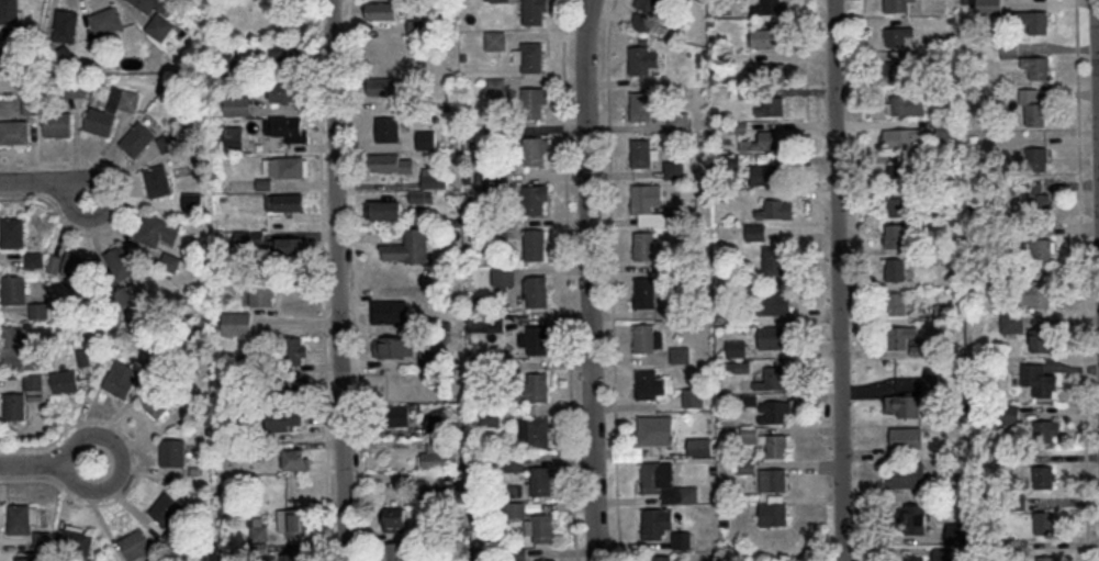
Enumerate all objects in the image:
building: (498, 0)
building: (649, 4)
building: (897, 4)
building: (770, 7)
building: (988, 7)
building: (382, 10)
building: (10, 11)
building: (535, 12)
building: (157, 16)
building: (106, 20)
building: (1036, 20)
building: (642, 21)
building: (66, 24)
building: (416, 25)
building: (898, 35)
building: (765, 37)
building: (496, 41)
building: (285, 49)
building: (531, 57)
building: (644, 58)
building: (7, 60)
building: (1038, 66)
building: (898, 69)
building: (764, 70)
building: (384, 86)
building: (496, 88)
building: (284, 90)
building: (534, 103)
building: (237, 104)
building: (906, 104)
building: (642, 105)
building: (774, 105)
building: (112, 110)
building: (1036, 114)
building: (679, 120)
building: (58, 124)
building: (388, 127)
building: (289, 128)
building: (14, 131)
building: (905, 136)
building: (234, 137)
building: (138, 138)
building: (426, 138)
building: (762, 139)
building: (167, 142)
building: (535, 150)
building: (641, 152)
building: (1038, 157)
building: (393, 161)
building: (287, 166)
building: (674, 169)
building: (902, 170)
building: (764, 173)
building: (158, 180)
road: (45, 181)
building: (1039, 195)
building: (535, 198)
building: (643, 198)
building: (288, 201)
road: (125, 203)
building: (396, 204)
building: (899, 205)
building: (777, 207)
building: (158, 229)
building: (755, 231)
building: (13, 232)
building: (896, 234)
building: (535, 244)
building: (644, 245)
building: (291, 246)
building: (408, 246)
building: (1043, 248)
building: (35, 259)
building: (775, 259)
building: (122, 261)
building: (171, 261)
building: (71, 265)
building: (897, 268)
building: (503, 274)
road: (323, 280)
road: (339, 280)
road: (357, 280)
road: (569, 280)
road: (590, 280)
road: (612, 280)
road: (838, 280)
road: (1083, 280)
building: (15, 288)
building: (538, 290)
building: (646, 292)
building: (263, 293)
building: (1039, 293)
building: (897, 302)
building: (775, 303)
building: (390, 311)
building: (238, 323)
building: (901, 335)
building: (774, 336)
building: (644, 337)
building: (538, 339)
building: (1040, 339)
building: (394, 346)
building: (18, 347)
building: (736, 347)
building: (296, 349)
building: (123, 377)
building: (773, 378)
building: (1039, 379)
building: (66, 380)
building: (647, 384)
building: (536, 388)
building: (24, 396)
building: (694, 396)
building: (159, 401)
building: (907, 404)
building: (774, 411)
building: (1012, 414)
building: (397, 415)
building: (490, 416)
building: (287, 419)
building: (433, 420)
building: (540, 430)
building: (649, 430)
building: (1047, 430)
building: (907, 436)
building: (769, 441)
building: (700, 445)
building: (173, 451)
building: (436, 456)
building: (296, 458)
road: (137, 460)
road: (48, 461)
building: (515, 461)
building: (907, 474)
building: (651, 475)
building: (1044, 475)
building: (541, 479)
building: (773, 479)
building: (427, 491)
building: (168, 507)
building: (774, 510)
building: (23, 517)
building: (394, 517)
building: (912, 517)
building: (294, 520)
building: (651, 521)
building: (1045, 521)
building: (543, 527)
building: (682, 539)
building: (78, 540)
building: (136, 543)
building: (396, 551)
building: (944, 553)
building: (295, 556)
building: (661, 557)
building: (26, 558)
building: (913, 558)
building: (1048, 558)
building: (546, 559)

